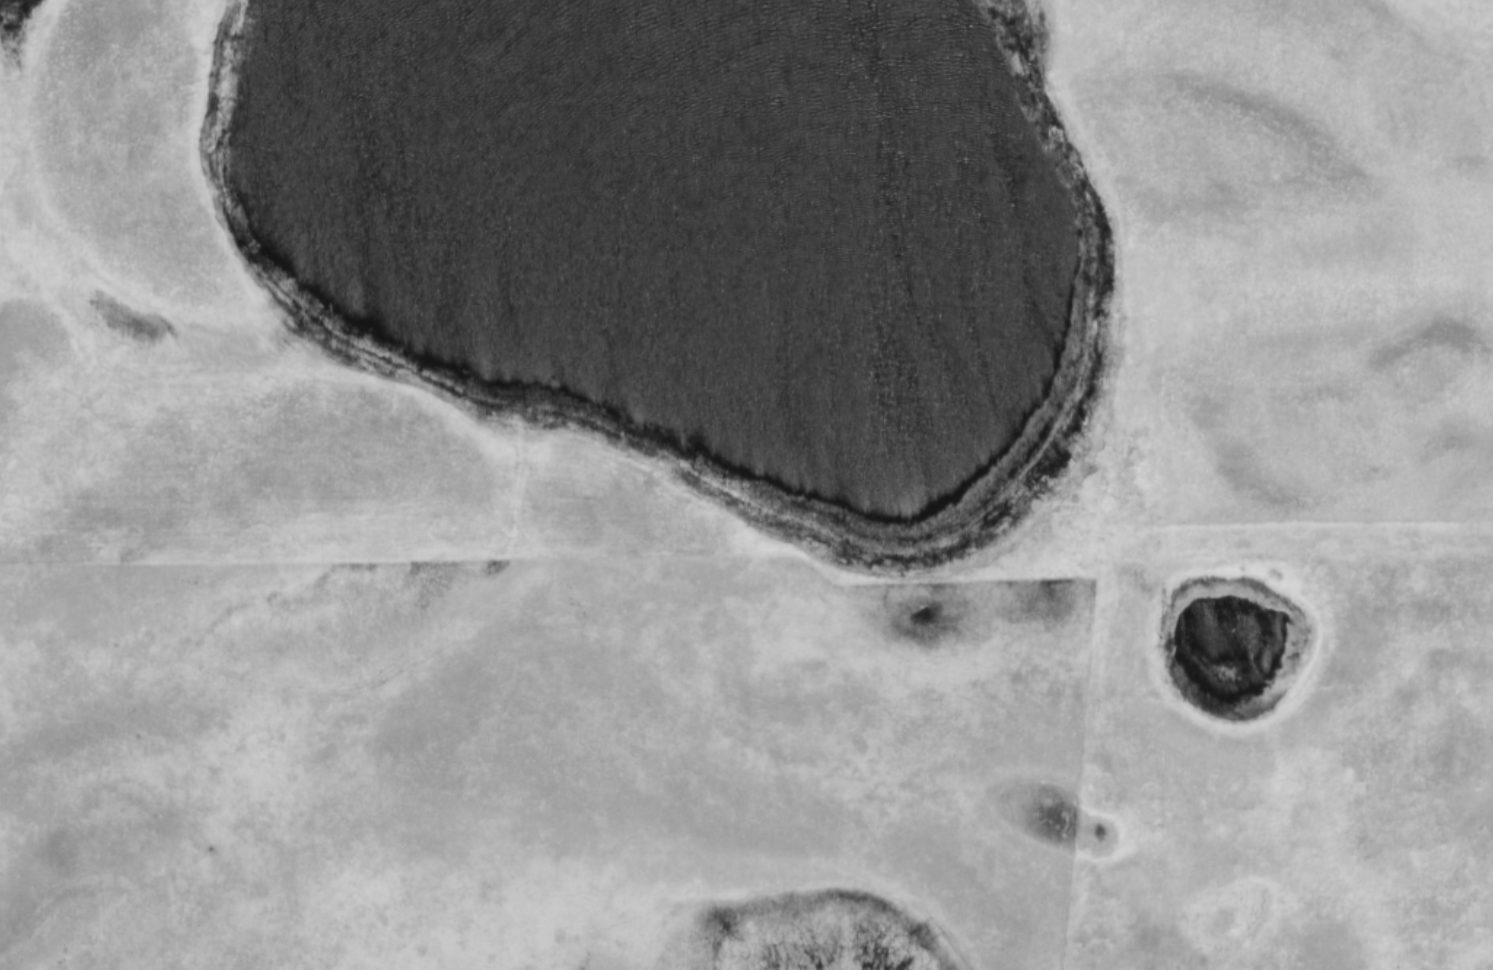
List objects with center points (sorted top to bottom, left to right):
road: (1135, 591)

